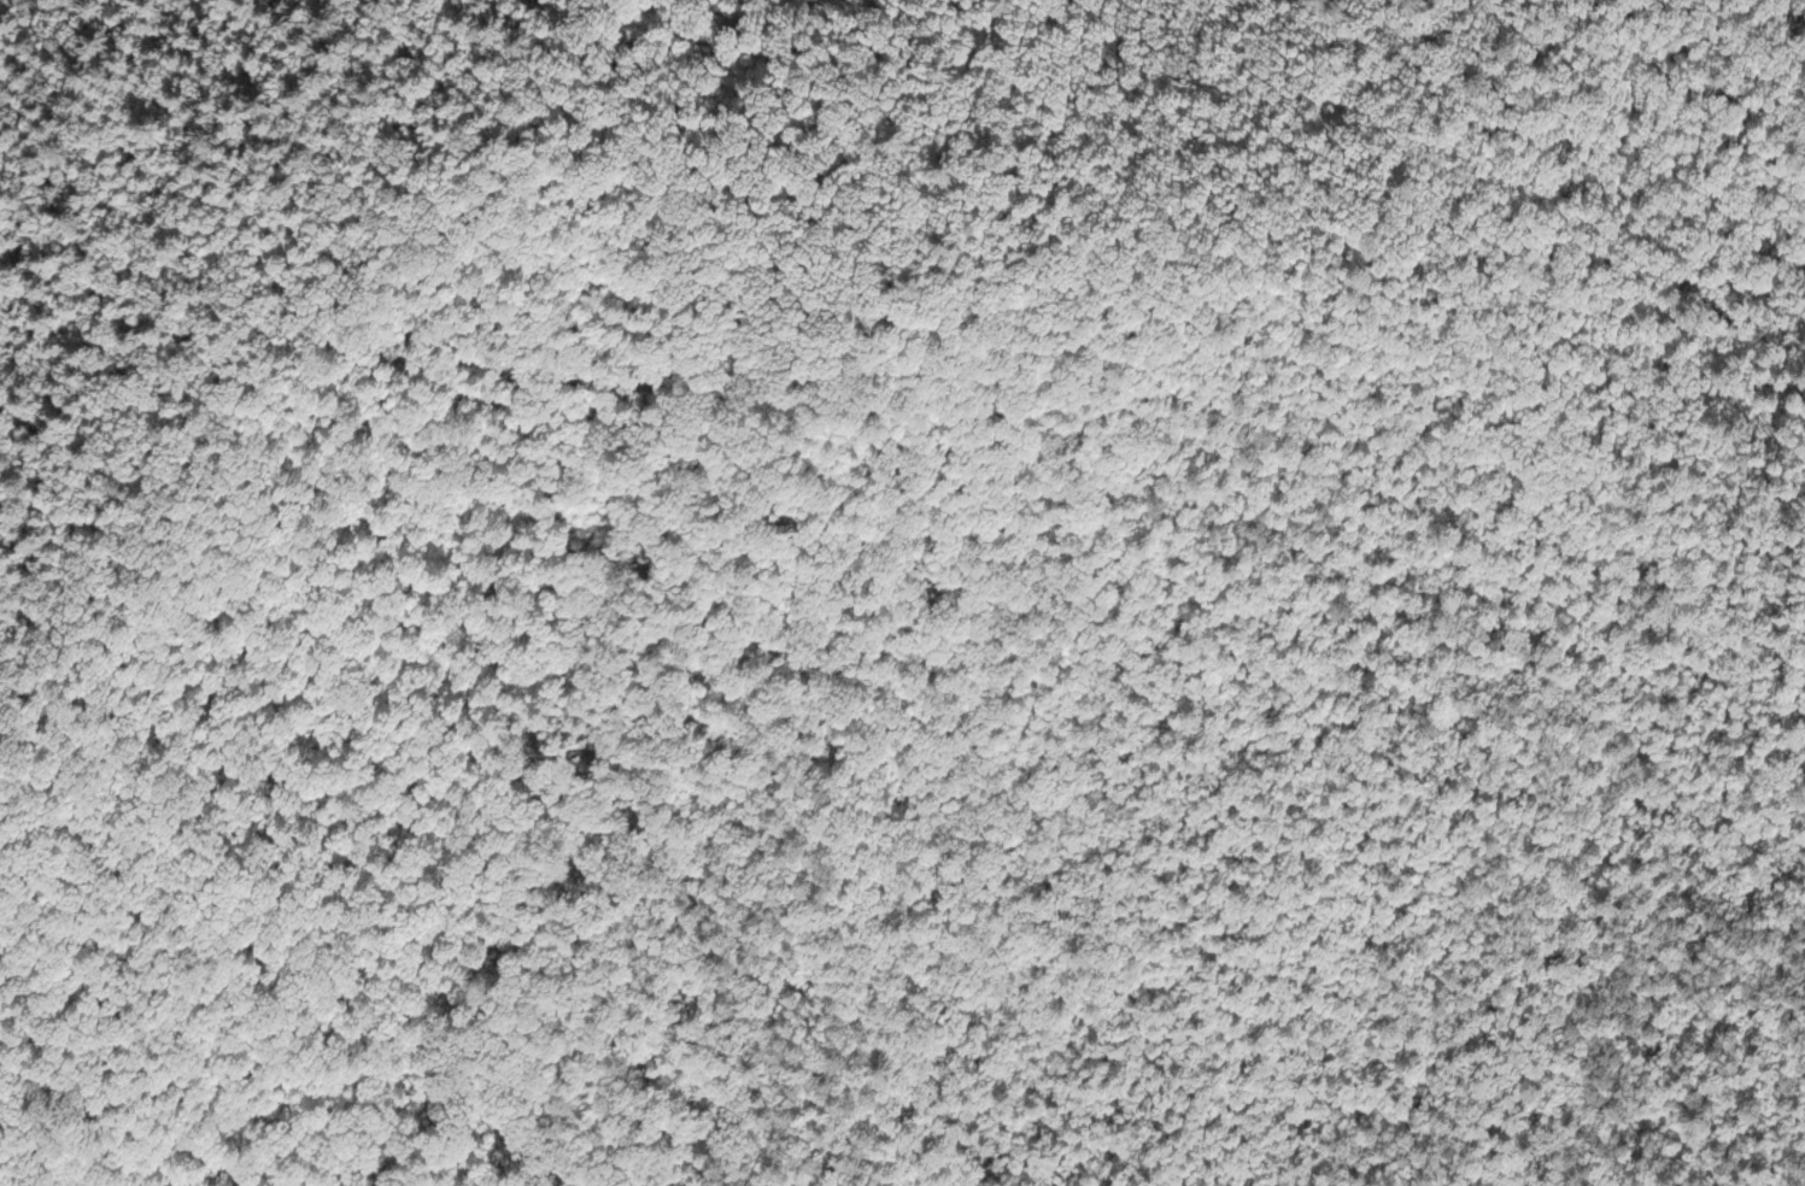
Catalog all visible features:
road: (1774, 140)

